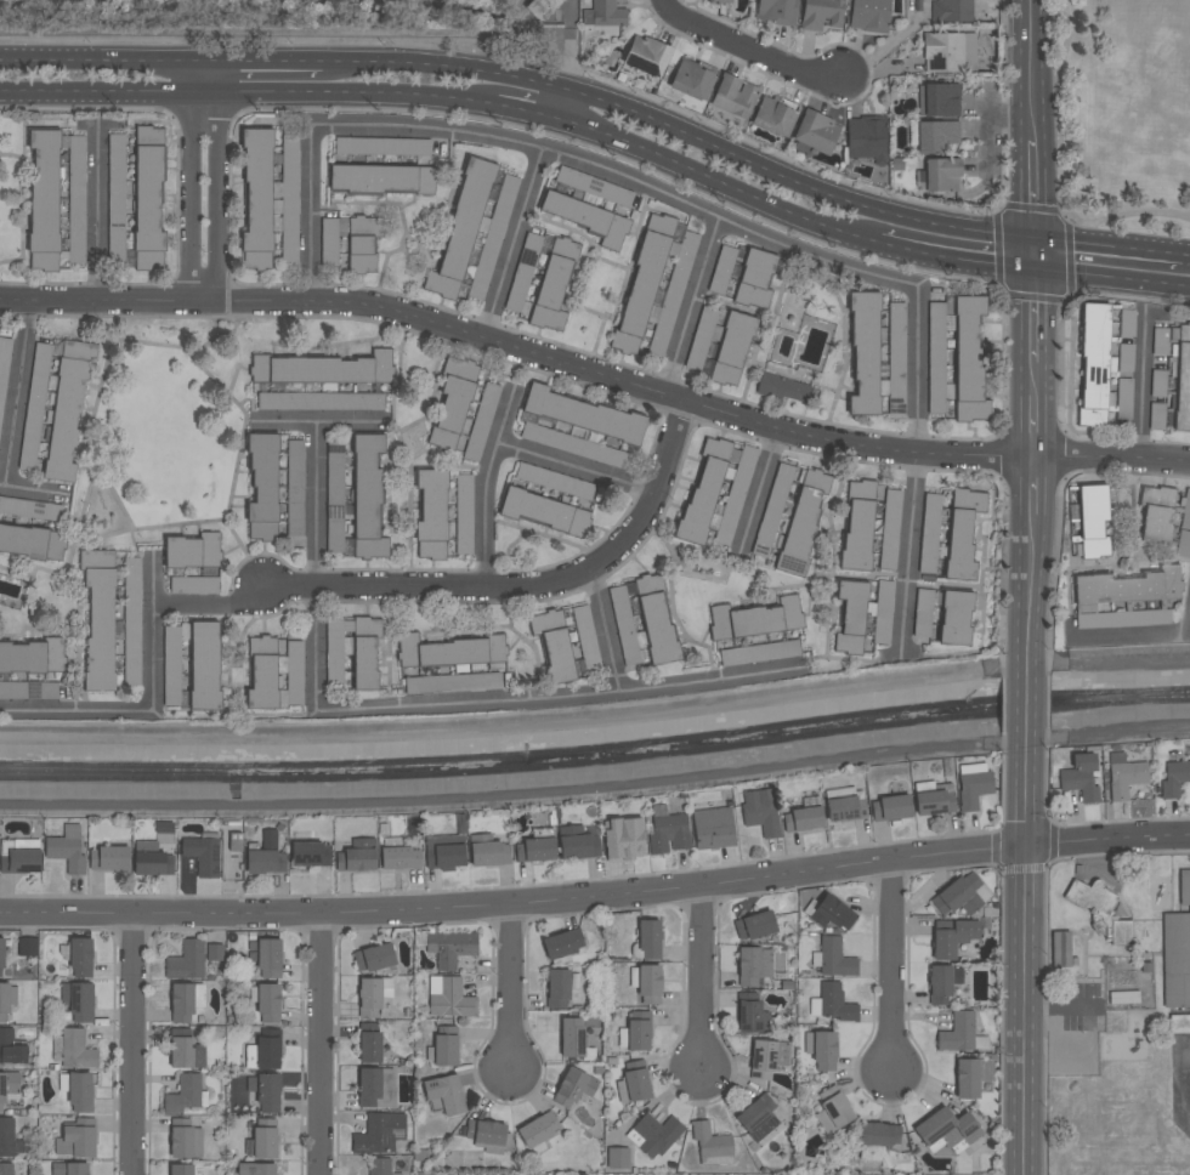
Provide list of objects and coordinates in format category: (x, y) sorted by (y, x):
building: (716, 1)
building: (544, 8)
building: (776, 11)
building: (951, 11)
building: (605, 13)
building: (822, 15)
building: (869, 15)
park: (316, 22)
road: (746, 47)
building: (950, 52)
building: (646, 56)
road: (101, 59)
road: (262, 61)
road: (1027, 69)
building: (692, 80)
road: (248, 92)
building: (733, 96)
building: (937, 100)
road: (562, 106)
road: (527, 112)
building: (775, 115)
park: (1120, 118)
road: (1059, 119)
road: (680, 131)
building: (815, 132)
building: (935, 136)
building: (866, 138)
building: (381, 146)
road: (618, 172)
building: (942, 175)
building: (380, 178)
road: (203, 180)
building: (591, 186)
building: (288, 197)
building: (42, 198)
building: (115, 198)
building: (75, 199)
building: (147, 199)
building: (256, 199)
road: (1028, 203)
road: (97, 210)
road: (789, 210)
road: (1139, 214)
building: (585, 217)
building: (471, 232)
traffic signals: (1030, 238)
building: (350, 240)
road: (515, 240)
road: (1106, 246)
road: (1186, 256)
traffic signals: (1030, 267)
building: (721, 269)
building: (522, 272)
road: (1107, 277)
building: (754, 278)
building: (641, 283)
building: (552, 284)
road: (1188, 286)
building: (670, 291)
road: (693, 306)
road: (1030, 314)
building: (1126, 322)
building: (719, 342)
building: (1157, 342)
building: (863, 353)
building: (954, 357)
building: (1124, 357)
building: (894, 359)
building: (1094, 365)
building: (2, 368)
building: (322, 369)
road: (595, 370)
building: (1180, 375)
road: (1030, 379)
building: (1156, 384)
building: (783, 387)
road: (1143, 387)
building: (1122, 397)
building: (319, 401)
building: (452, 402)
building: (57, 404)
building: (580, 414)
building: (1155, 416)
road: (324, 420)
building: (480, 421)
road: (15, 425)
road: (1030, 425)
park: (168, 436)
road: (577, 467)
building: (334, 475)
building: (554, 479)
road: (486, 482)
road: (764, 482)
road: (2, 483)
road: (1030, 484)
building: (261, 487)
building: (294, 487)
building: (716, 492)
building: (365, 496)
road: (314, 501)
building: (771, 510)
building: (543, 511)
building: (430, 513)
building: (463, 513)
building: (1155, 513)
building: (801, 520)
building: (1087, 522)
building: (857, 526)
building: (889, 529)
building: (962, 533)
building: (929, 534)
building: (32, 541)
building: (1183, 544)
building: (192, 550)
road: (909, 556)
road: (1028, 580)
road: (469, 583)
building: (1127, 586)
building: (883, 612)
building: (923, 613)
building: (850, 615)
building: (954, 617)
building: (755, 618)
building: (131, 619)
building: (1123, 619)
building: (935, 620)
building: (656, 621)
building: (100, 623)
building: (624, 626)
building: (586, 637)
building: (554, 645)
building: (449, 651)
building: (334, 652)
building: (364, 653)
building: (759, 653)
building: (32, 657)
building: (171, 666)
building: (204, 666)
building: (294, 672)
building: (261, 675)
road: (712, 676)
building: (452, 682)
building: (28, 691)
road: (1026, 696)
road: (465, 702)
road: (154, 706)
road: (596, 720)
building: (1079, 776)
building: (1126, 778)
building: (1174, 778)
building: (974, 789)
building: (934, 802)
building: (890, 807)
building: (844, 808)
building: (759, 811)
building: (801, 819)
building: (713, 829)
building: (668, 833)
road: (1154, 834)
building: (623, 839)
building: (577, 842)
building: (534, 850)
building: (444, 851)
building: (487, 851)
building: (66, 853)
building: (310, 853)
building: (203, 855)
building: (266, 856)
building: (109, 857)
building: (356, 857)
building: (152, 859)
building: (398, 859)
building: (19, 861)
building: (1184, 886)
building: (959, 895)
road: (560, 897)
building: (811, 902)
building: (1099, 910)
building: (833, 914)
building: (754, 925)
building: (650, 938)
building: (953, 938)
building: (562, 943)
building: (27, 947)
building: (450, 948)
building: (1060, 949)
building: (214, 952)
building: (1, 955)
building: (80, 957)
building: (268, 958)
building: (374, 958)
building: (835, 958)
road: (1025, 959)
building: (1175, 959)
building: (187, 960)
building: (753, 965)
road: (890, 974)
building: (942, 982)
building: (648, 983)
road: (698, 983)
building: (557, 988)
building: (369, 997)
building: (1123, 998)
building: (452, 999)
road: (510, 999)
building: (4, 1000)
building: (79, 1000)
road: (1056, 1000)
building: (181, 1003)
building: (268, 1003)
building: (835, 1003)
building: (750, 1014)
building: (1179, 1023)
building: (958, 1033)
building: (637, 1034)
building: (571, 1038)
road: (126, 1040)
road: (324, 1041)
building: (370, 1046)
building: (11, 1049)
building: (186, 1049)
building: (75, 1050)
building: (444, 1050)
building: (823, 1050)
building: (267, 1052)
building: (767, 1057)
building: (987, 1071)
building: (967, 1079)
building: (8, 1085)
building: (636, 1085)
building: (368, 1086)
building: (573, 1086)
building: (80, 1091)
building: (268, 1092)
building: (183, 1094)
building: (446, 1094)
building: (832, 1109)
building: (756, 1118)
building: (947, 1128)
building: (537, 1129)
building: (484, 1131)
building: (379, 1133)
building: (656, 1134)
building: (878, 1134)
building: (8, 1139)
building: (181, 1139)
building: (76, 1141)
building: (265, 1142)
building: (710, 1145)
building: (618, 1158)
building: (379, 1167)
building: (6, 1169)
building: (69, 1169)
building: (180, 1169)
building: (256, 1169)

